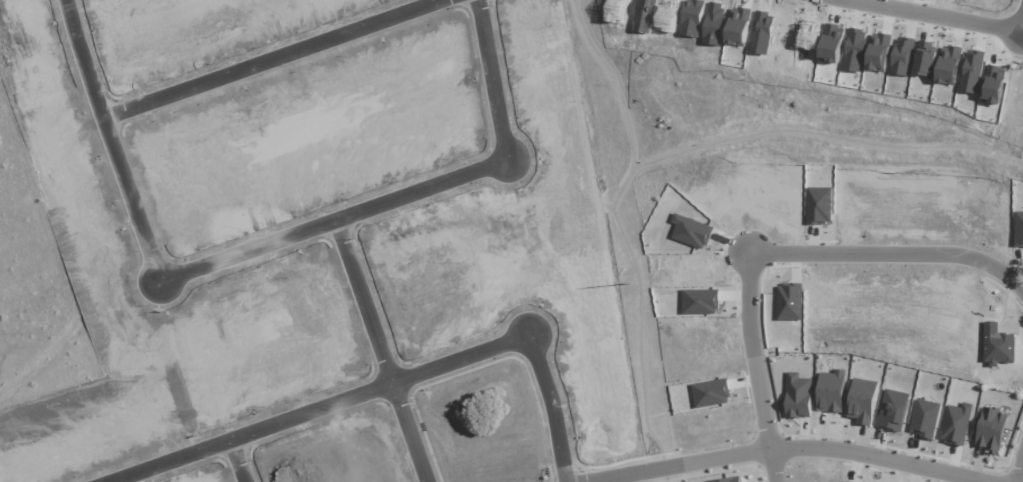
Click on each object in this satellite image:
road: (939, 15)
road: (272, 58)
road: (271, 241)
road: (892, 254)
power tower: (639, 287)
road: (387, 350)
road: (753, 367)
building: (831, 391)
building: (798, 396)
building: (863, 401)
road: (558, 402)
road: (309, 403)
building: (957, 423)
building: (991, 430)
road: (781, 448)
road: (243, 456)
road: (1019, 471)
building: (728, 479)

